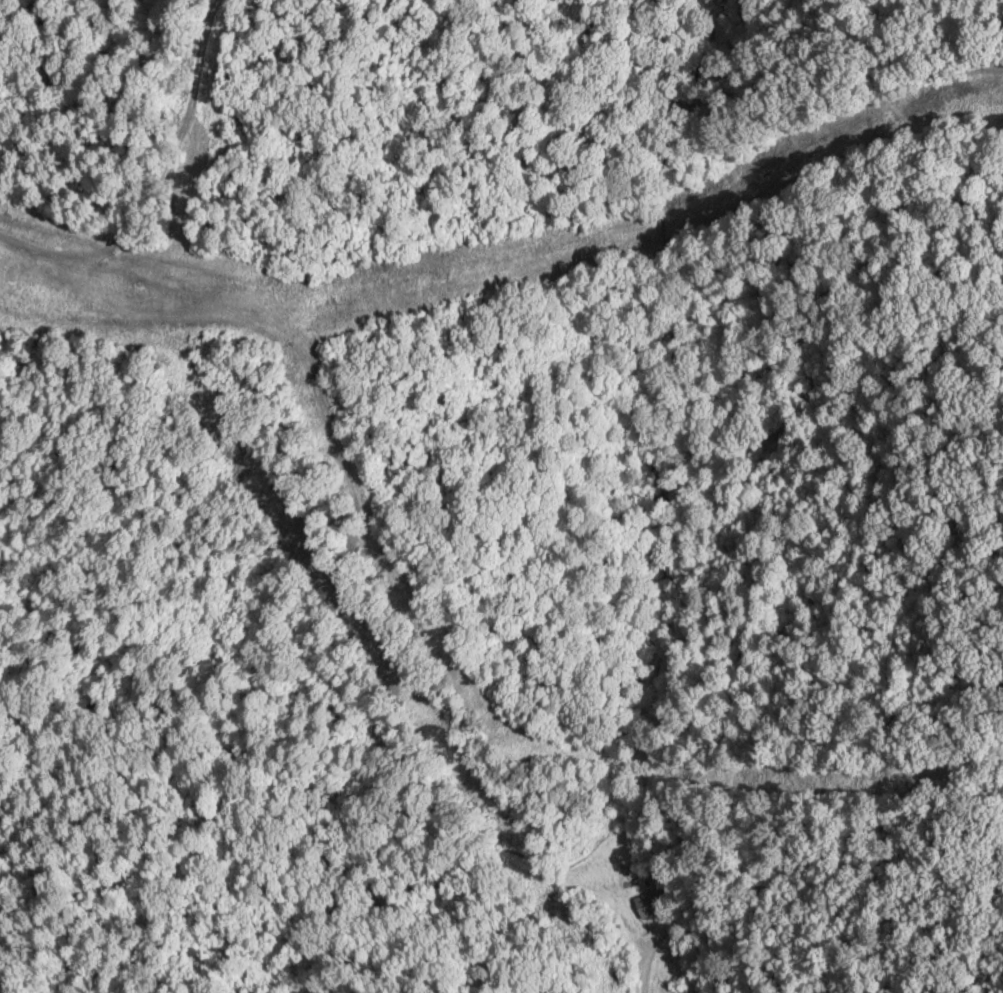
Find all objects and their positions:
road: (711, 959)

